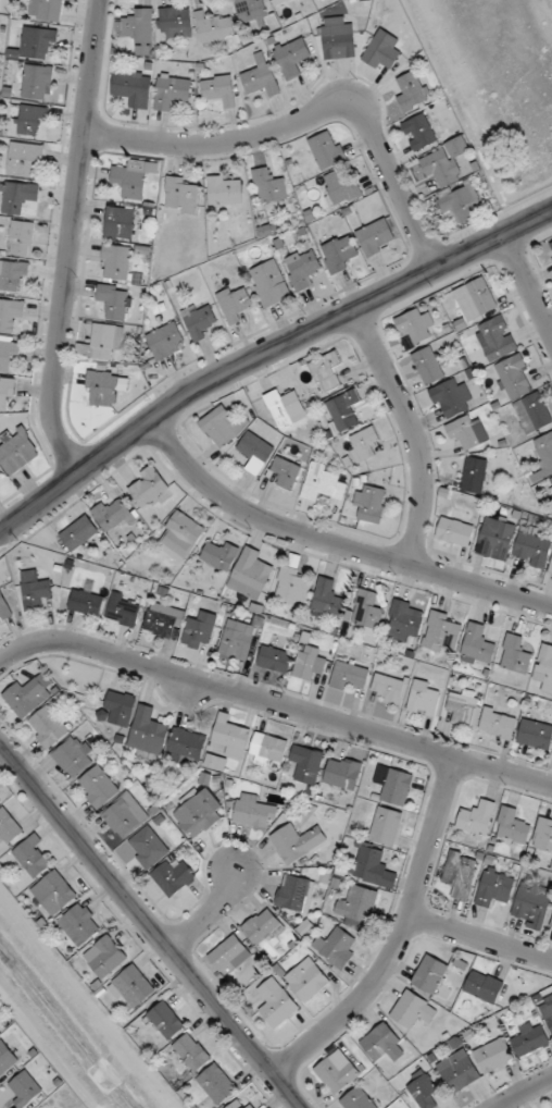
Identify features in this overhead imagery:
building: (279, 1)
building: (47, 10)
building: (250, 10)
building: (176, 22)
building: (215, 27)
building: (139, 30)
building: (338, 38)
building: (37, 42)
building: (381, 51)
building: (292, 58)
building: (261, 77)
building: (37, 83)
building: (129, 88)
building: (219, 89)
building: (172, 91)
building: (413, 91)
road: (310, 112)
building: (32, 121)
building: (419, 132)
building: (327, 149)
building: (25, 160)
building: (444, 162)
building: (134, 177)
building: (269, 186)
building: (342, 186)
building: (225, 189)
building: (183, 195)
building: (21, 198)
building: (462, 202)
building: (121, 222)
building: (376, 237)
building: (22, 238)
road: (71, 238)
building: (339, 254)
building: (117, 262)
building: (303, 269)
building: (12, 274)
building: (271, 283)
road: (528, 284)
building: (476, 299)
building: (115, 301)
building: (235, 303)
building: (11, 315)
building: (198, 320)
building: (415, 327)
building: (495, 338)
building: (165, 341)
building: (102, 342)
building: (9, 352)
road: (265, 352)
building: (428, 366)
building: (326, 371)
building: (515, 378)
building: (106, 386)
building: (7, 391)
building: (451, 397)
building: (286, 408)
building: (344, 410)
building: (536, 411)
building: (221, 426)
road: (412, 431)
building: (467, 432)
building: (364, 443)
building: (17, 452)
building: (255, 453)
building: (543, 457)
building: (0, 472)
building: (286, 472)
building: (474, 475)
building: (551, 478)
building: (323, 482)
building: (149, 487)
building: (369, 504)
building: (113, 515)
building: (455, 531)
building: (79, 533)
building: (181, 535)
building: (498, 537)
road: (334, 544)
building: (532, 550)
building: (221, 555)
building: (251, 575)
building: (291, 587)
building: (35, 590)
building: (328, 600)
building: (87, 601)
building: (4, 606)
building: (365, 608)
building: (125, 610)
building: (404, 620)
building: (163, 621)
building: (201, 631)
building: (442, 632)
building: (238, 640)
building: (478, 645)
building: (516, 655)
building: (275, 660)
building: (311, 662)
building: (544, 664)
building: (349, 676)
building: (388, 689)
building: (27, 698)
building: (424, 700)
road: (275, 703)
building: (463, 706)
building: (118, 709)
building: (498, 723)
building: (48, 727)
building: (536, 735)
building: (149, 736)
building: (230, 737)
building: (187, 746)
building: (267, 749)
building: (75, 756)
building: (216, 763)
building: (306, 763)
building: (343, 773)
building: (393, 784)
building: (99, 787)
building: (0, 802)
building: (253, 812)
building: (125, 815)
building: (197, 815)
building: (477, 818)
building: (9, 826)
building: (387, 826)
building: (512, 827)
building: (543, 835)
building: (299, 840)
building: (149, 847)
building: (32, 857)
building: (374, 867)
building: (461, 875)
building: (173, 877)
building: (494, 888)
building: (54, 892)
building: (297, 892)
building: (357, 906)
building: (531, 907)
road: (208, 914)
building: (80, 924)
road: (150, 926)
building: (263, 926)
road: (399, 937)
road: (479, 938)
building: (337, 947)
building: (230, 953)
building: (105, 957)
building: (430, 974)
building: (309, 978)
building: (134, 986)
building: (484, 986)
building: (277, 1002)
building: (414, 1010)
building: (547, 1011)
building: (166, 1020)
building: (1, 1025)
building: (530, 1041)
building: (384, 1044)
building: (192, 1051)
building: (494, 1056)
building: (7, 1058)
building: (459, 1071)
building: (337, 1072)
building: (217, 1084)
building: (25, 1088)
building: (425, 1093)
road: (524, 1093)
building: (357, 1099)
building: (241, 1104)
building: (52, 1107)

